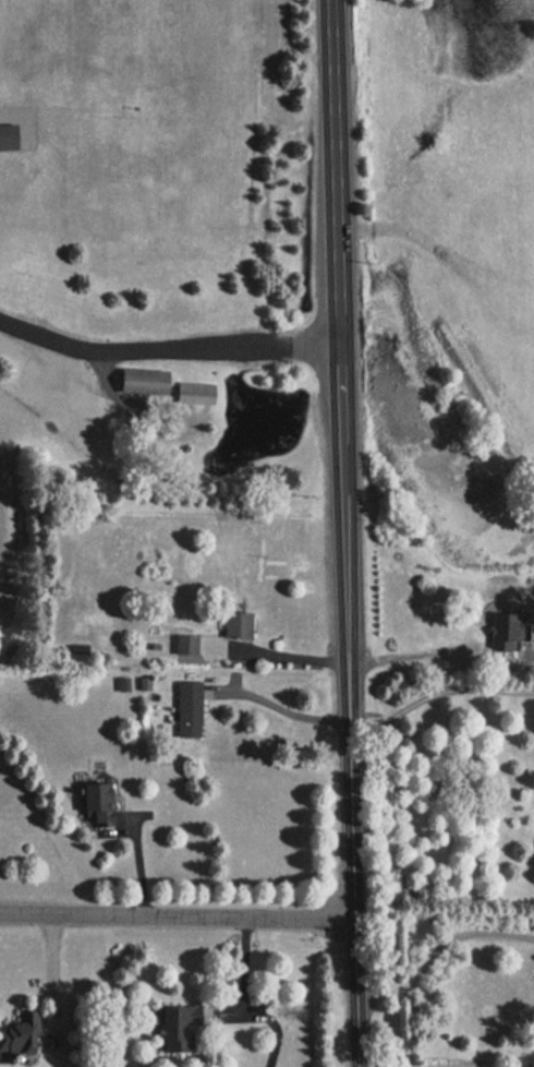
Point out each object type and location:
building: (7, 137)
road: (344, 332)
road: (170, 350)
building: (138, 381)
building: (193, 392)
building: (232, 624)
building: (499, 631)
road: (288, 651)
road: (410, 657)
road: (440, 695)
road: (354, 696)
building: (186, 708)
road: (287, 711)
building: (92, 803)
road: (360, 897)
road: (180, 912)
road: (439, 945)
road: (239, 979)
building: (178, 1026)
building: (19, 1033)

